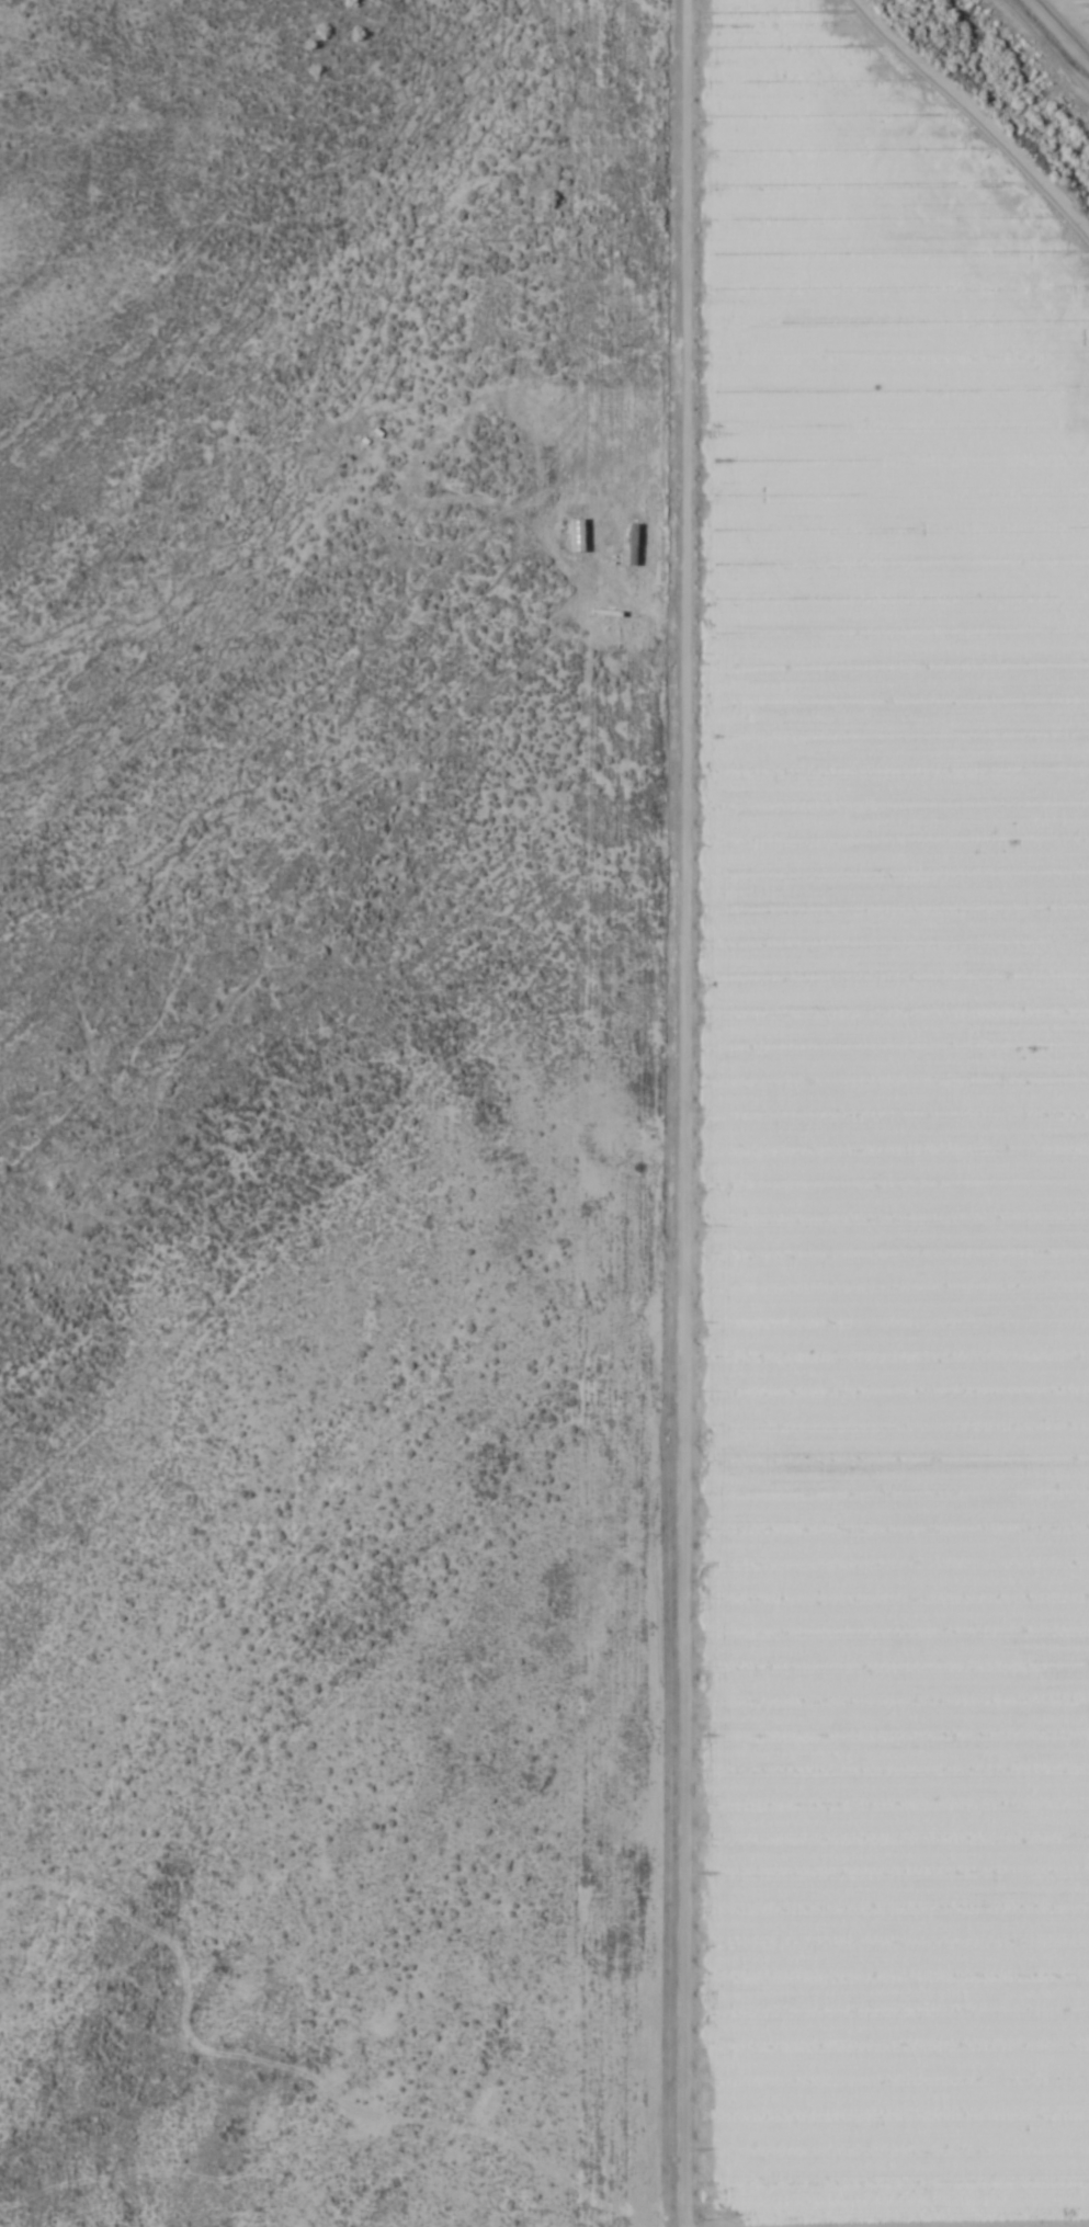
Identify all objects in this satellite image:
road: (1033, 94)
crop: (544, 1113)

